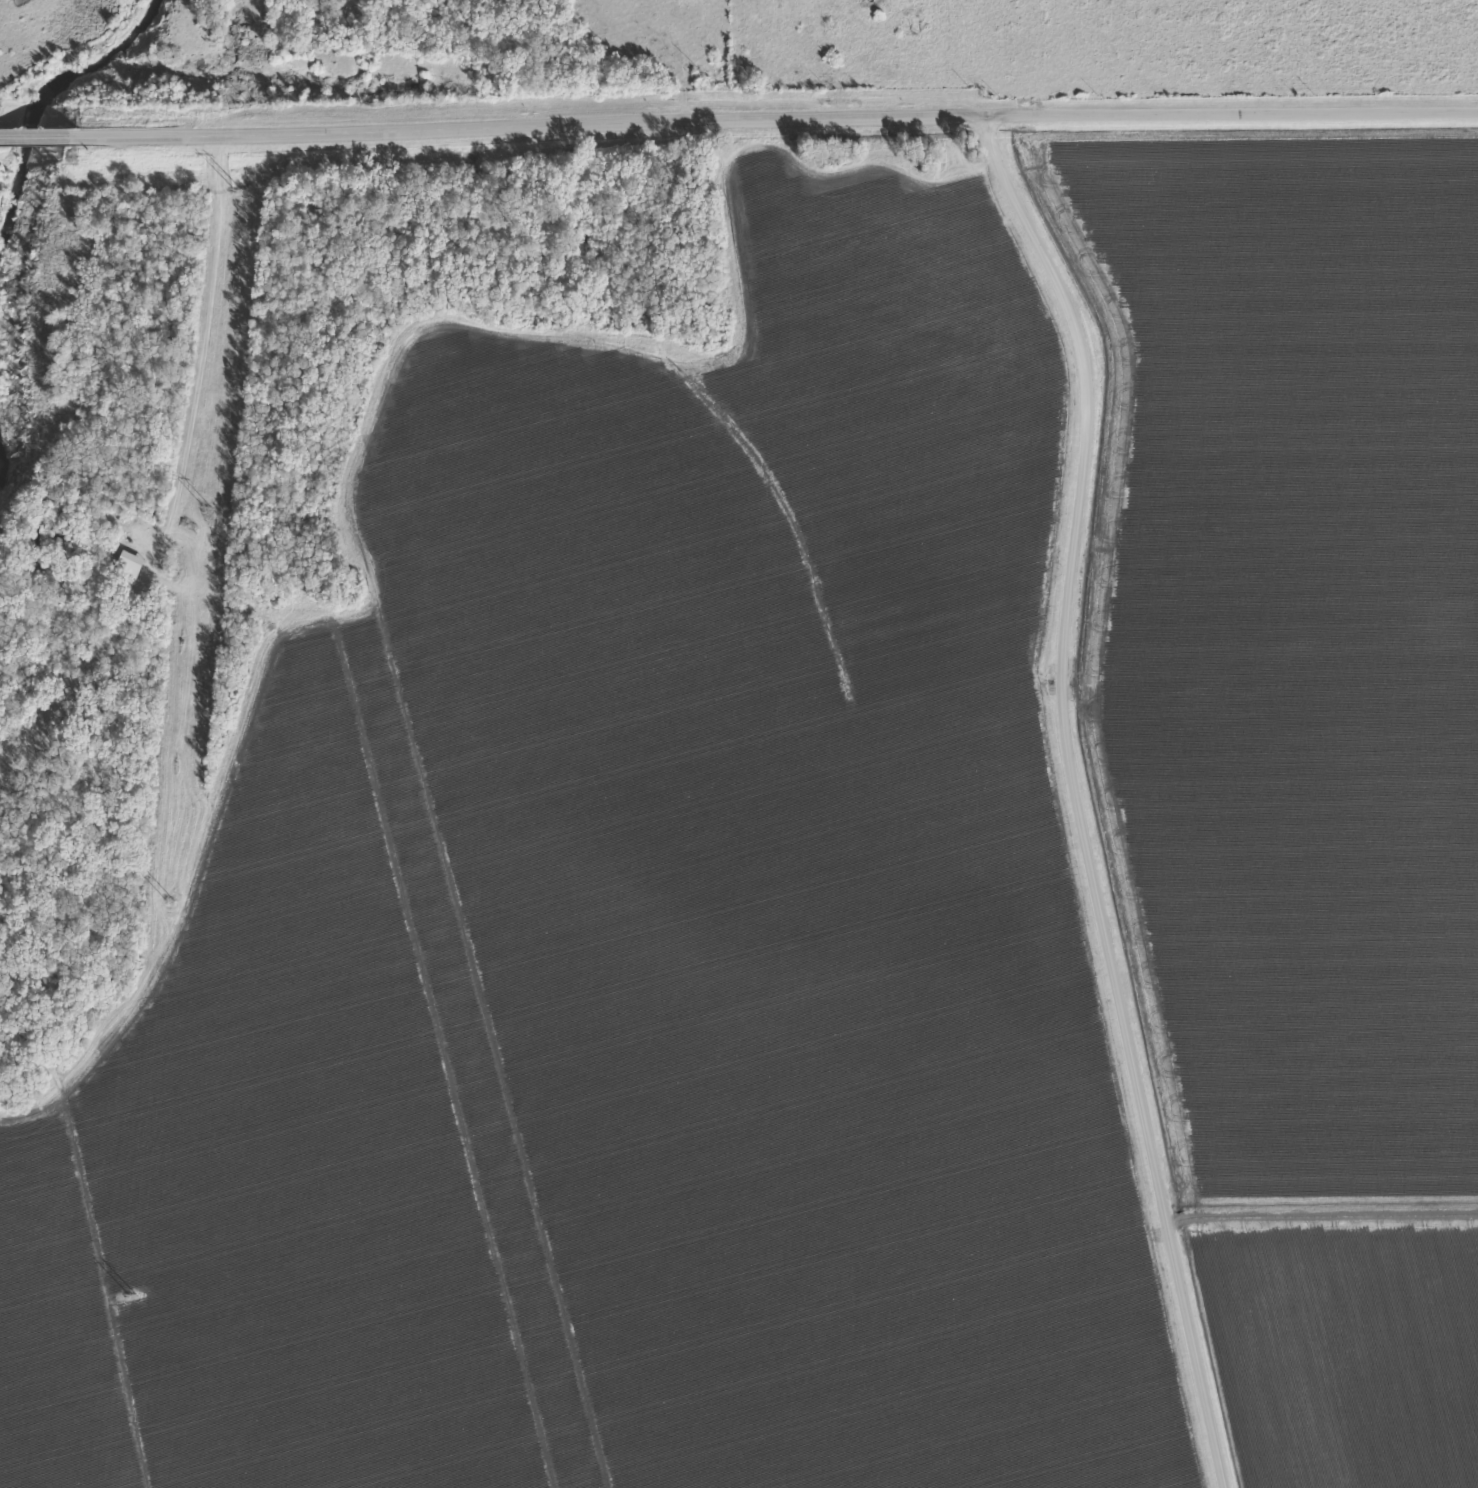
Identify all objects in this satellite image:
river: (34, 85)
road: (1227, 114)
road: (527, 130)
road: (39, 137)
power tower: (237, 189)
road: (156, 452)
power tower: (209, 508)
building: (135, 562)
road: (1071, 794)
power tower: (168, 902)
power tower: (133, 1294)

